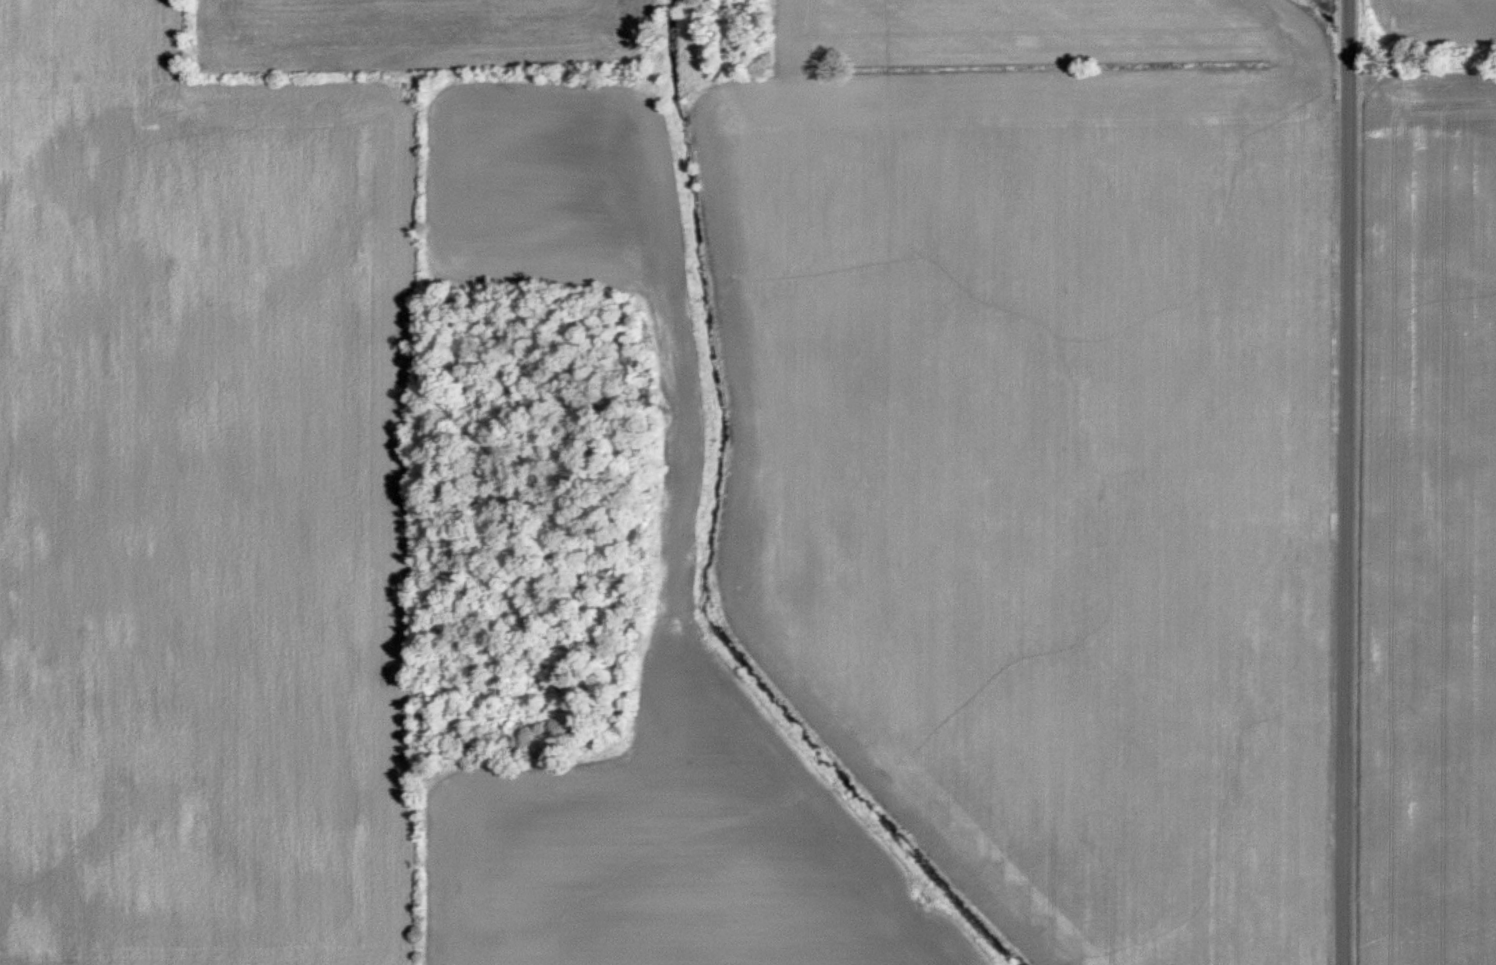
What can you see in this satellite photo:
road: (1343, 482)

